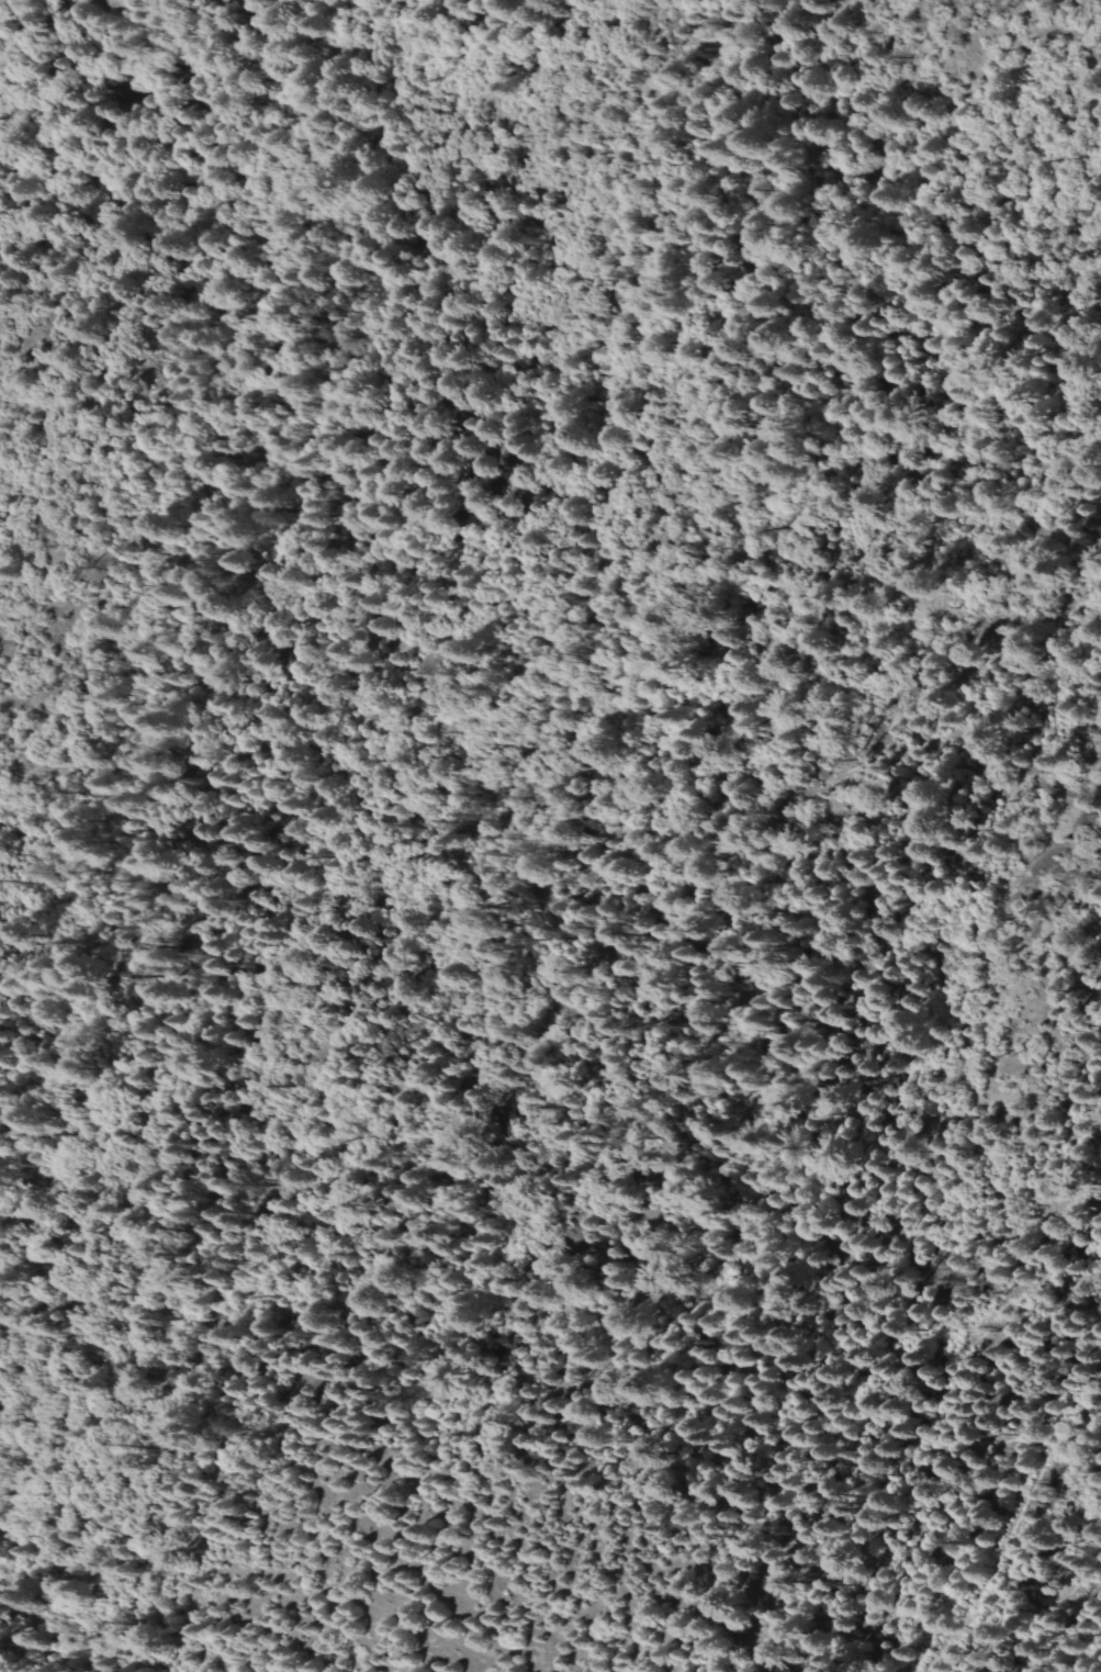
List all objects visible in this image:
road: (1010, 1517)

